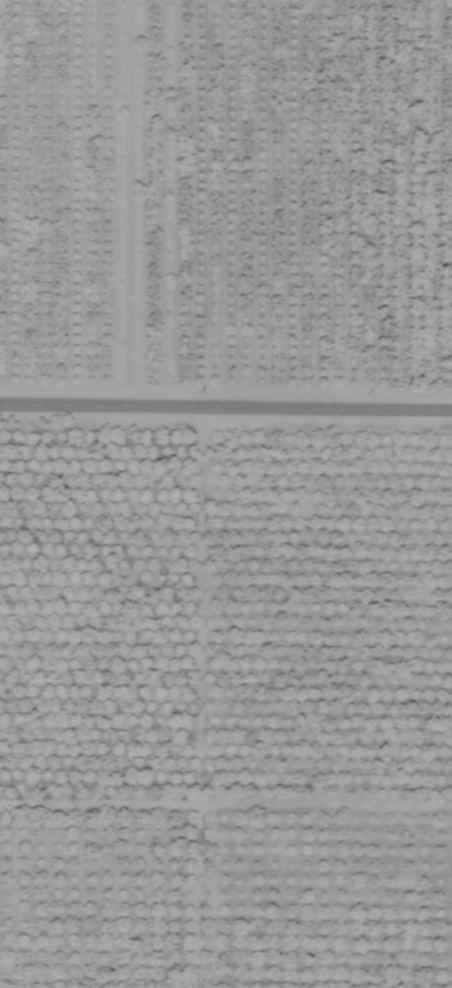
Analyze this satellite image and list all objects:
road: (226, 403)
crop: (226, 494)

